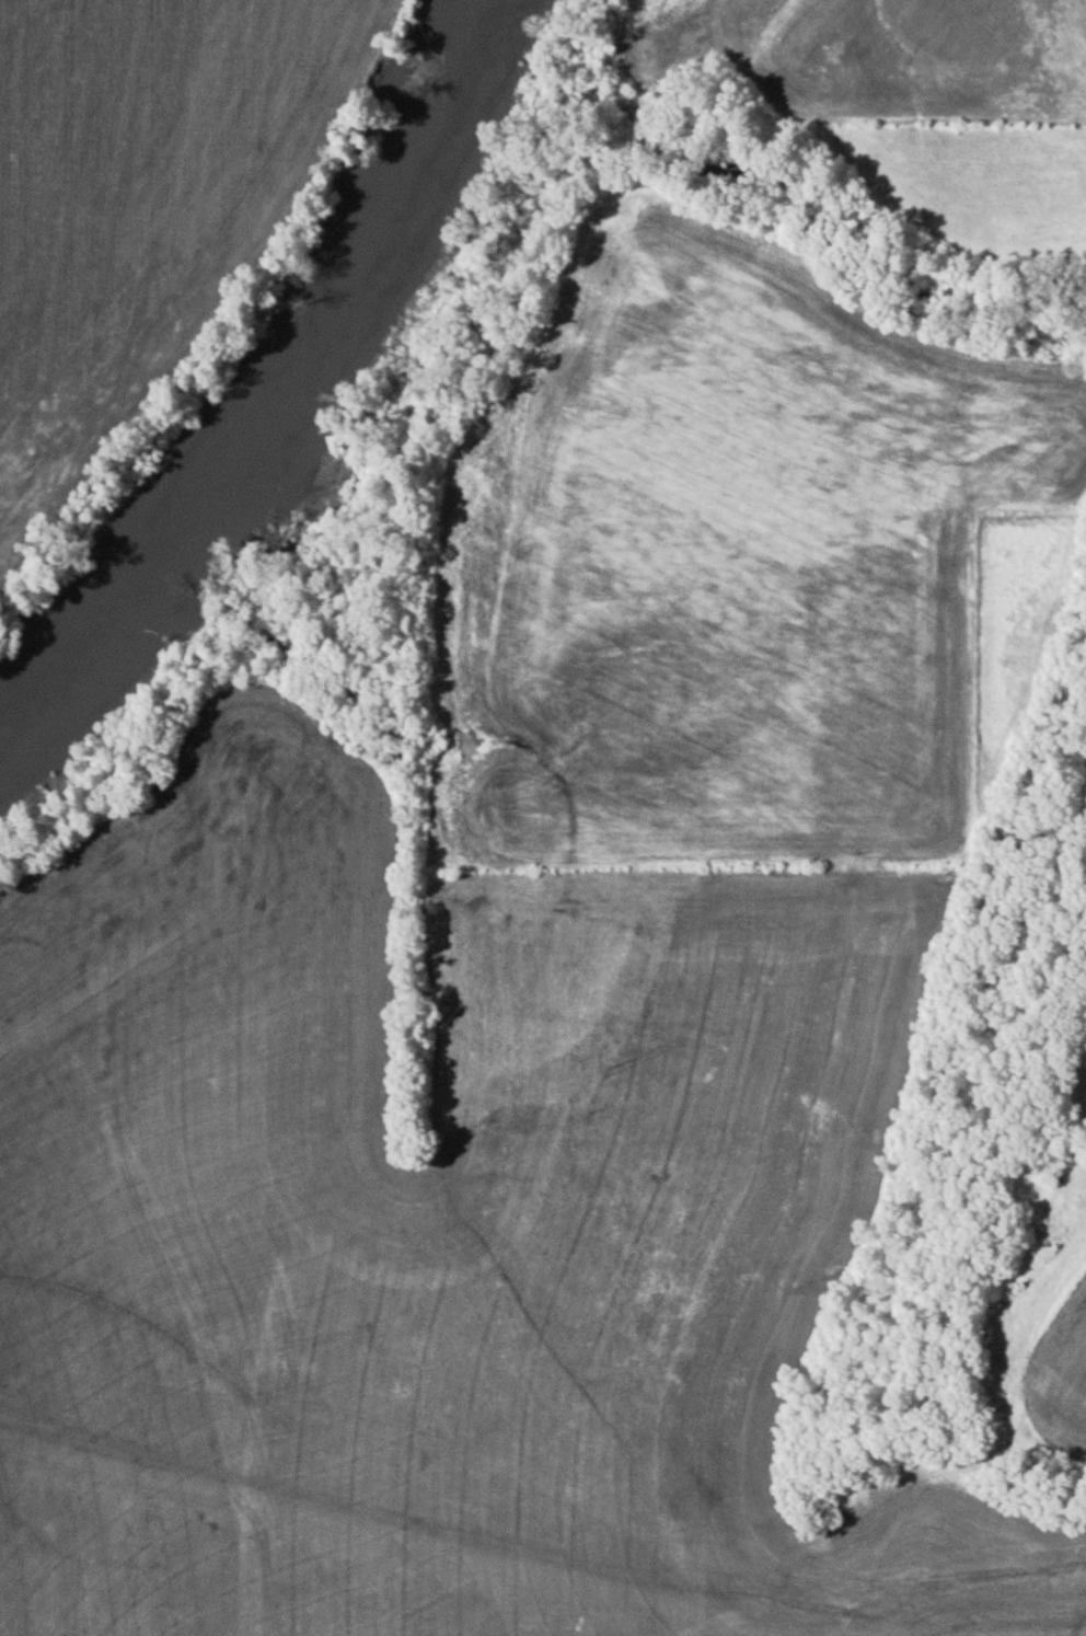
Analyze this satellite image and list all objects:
river: (293, 388)

